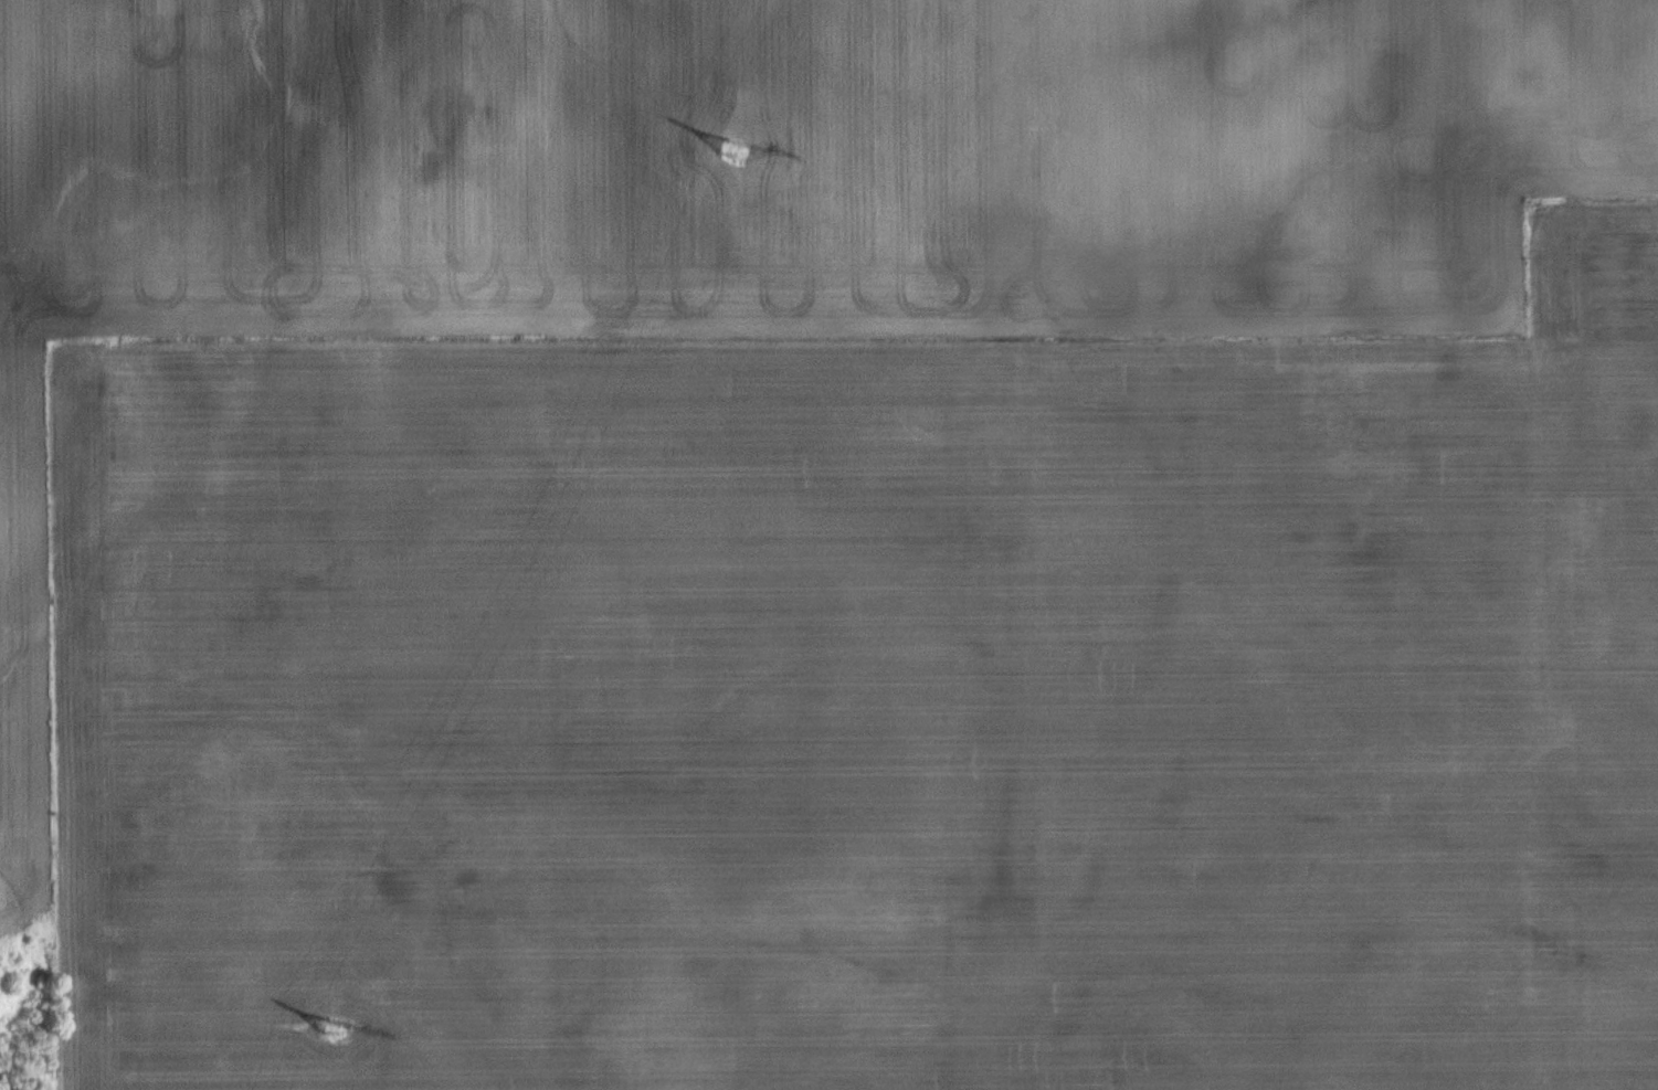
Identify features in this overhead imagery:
power tower: (733, 149)
power tower: (331, 1029)

